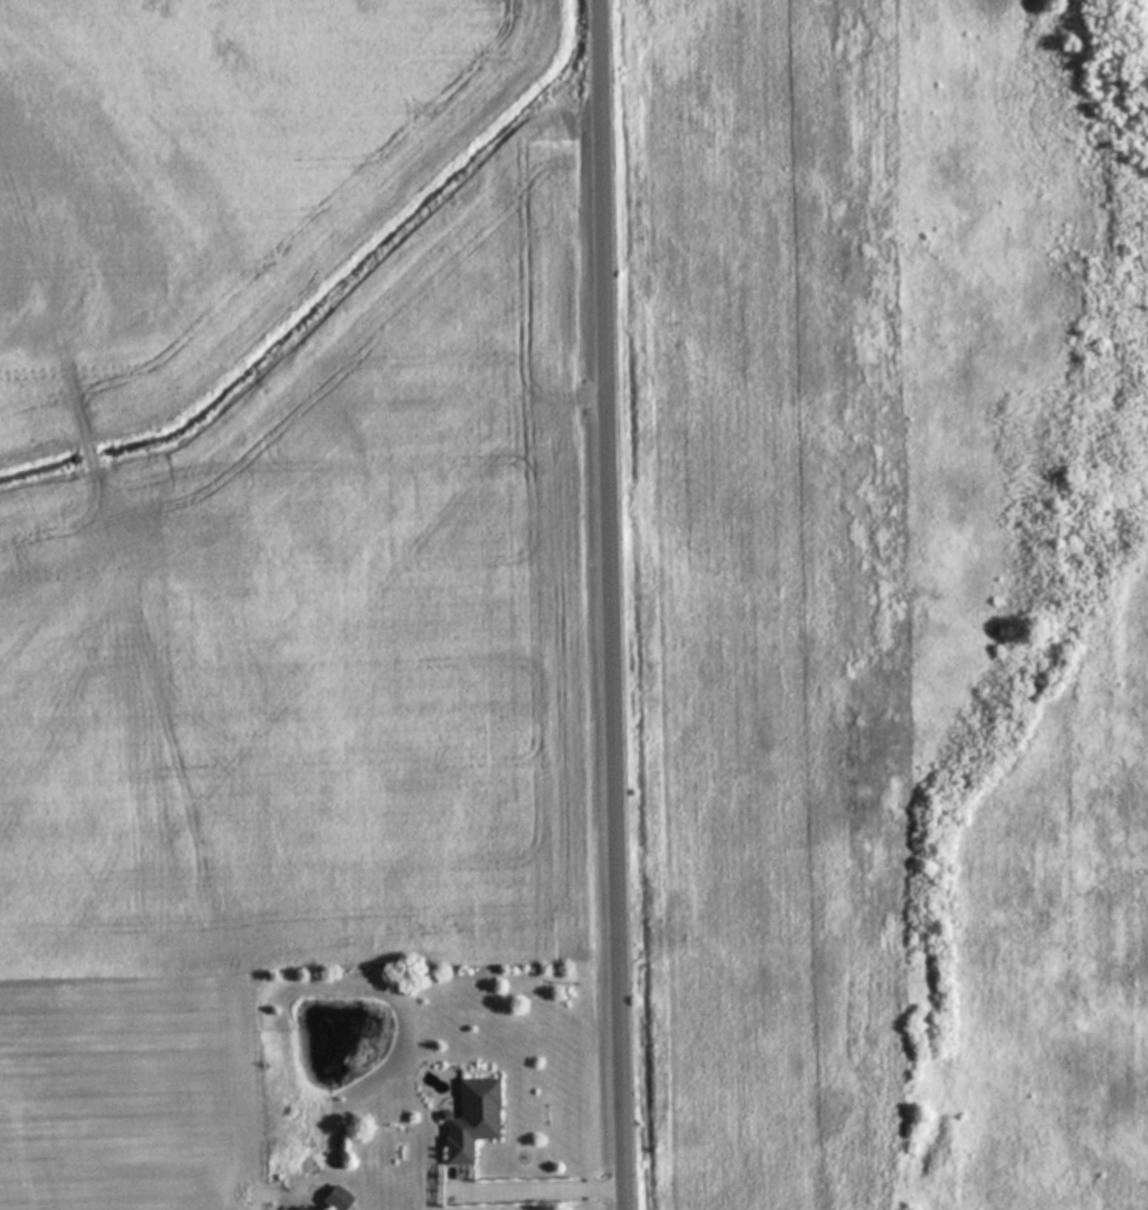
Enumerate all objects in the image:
road: (615, 604)
building: (469, 1118)
road: (540, 1187)
building: (333, 1198)

